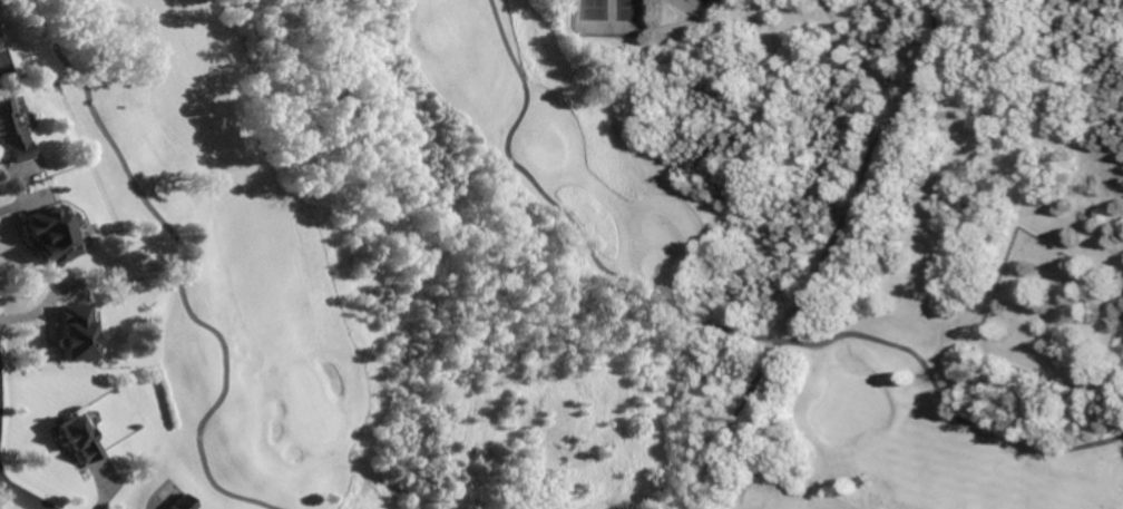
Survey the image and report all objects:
building: (12, 130)
road: (566, 217)
building: (48, 231)
park: (613, 264)
road: (180, 268)
building: (72, 332)
road: (876, 339)
building: (78, 433)
road: (16, 498)
building: (179, 503)

